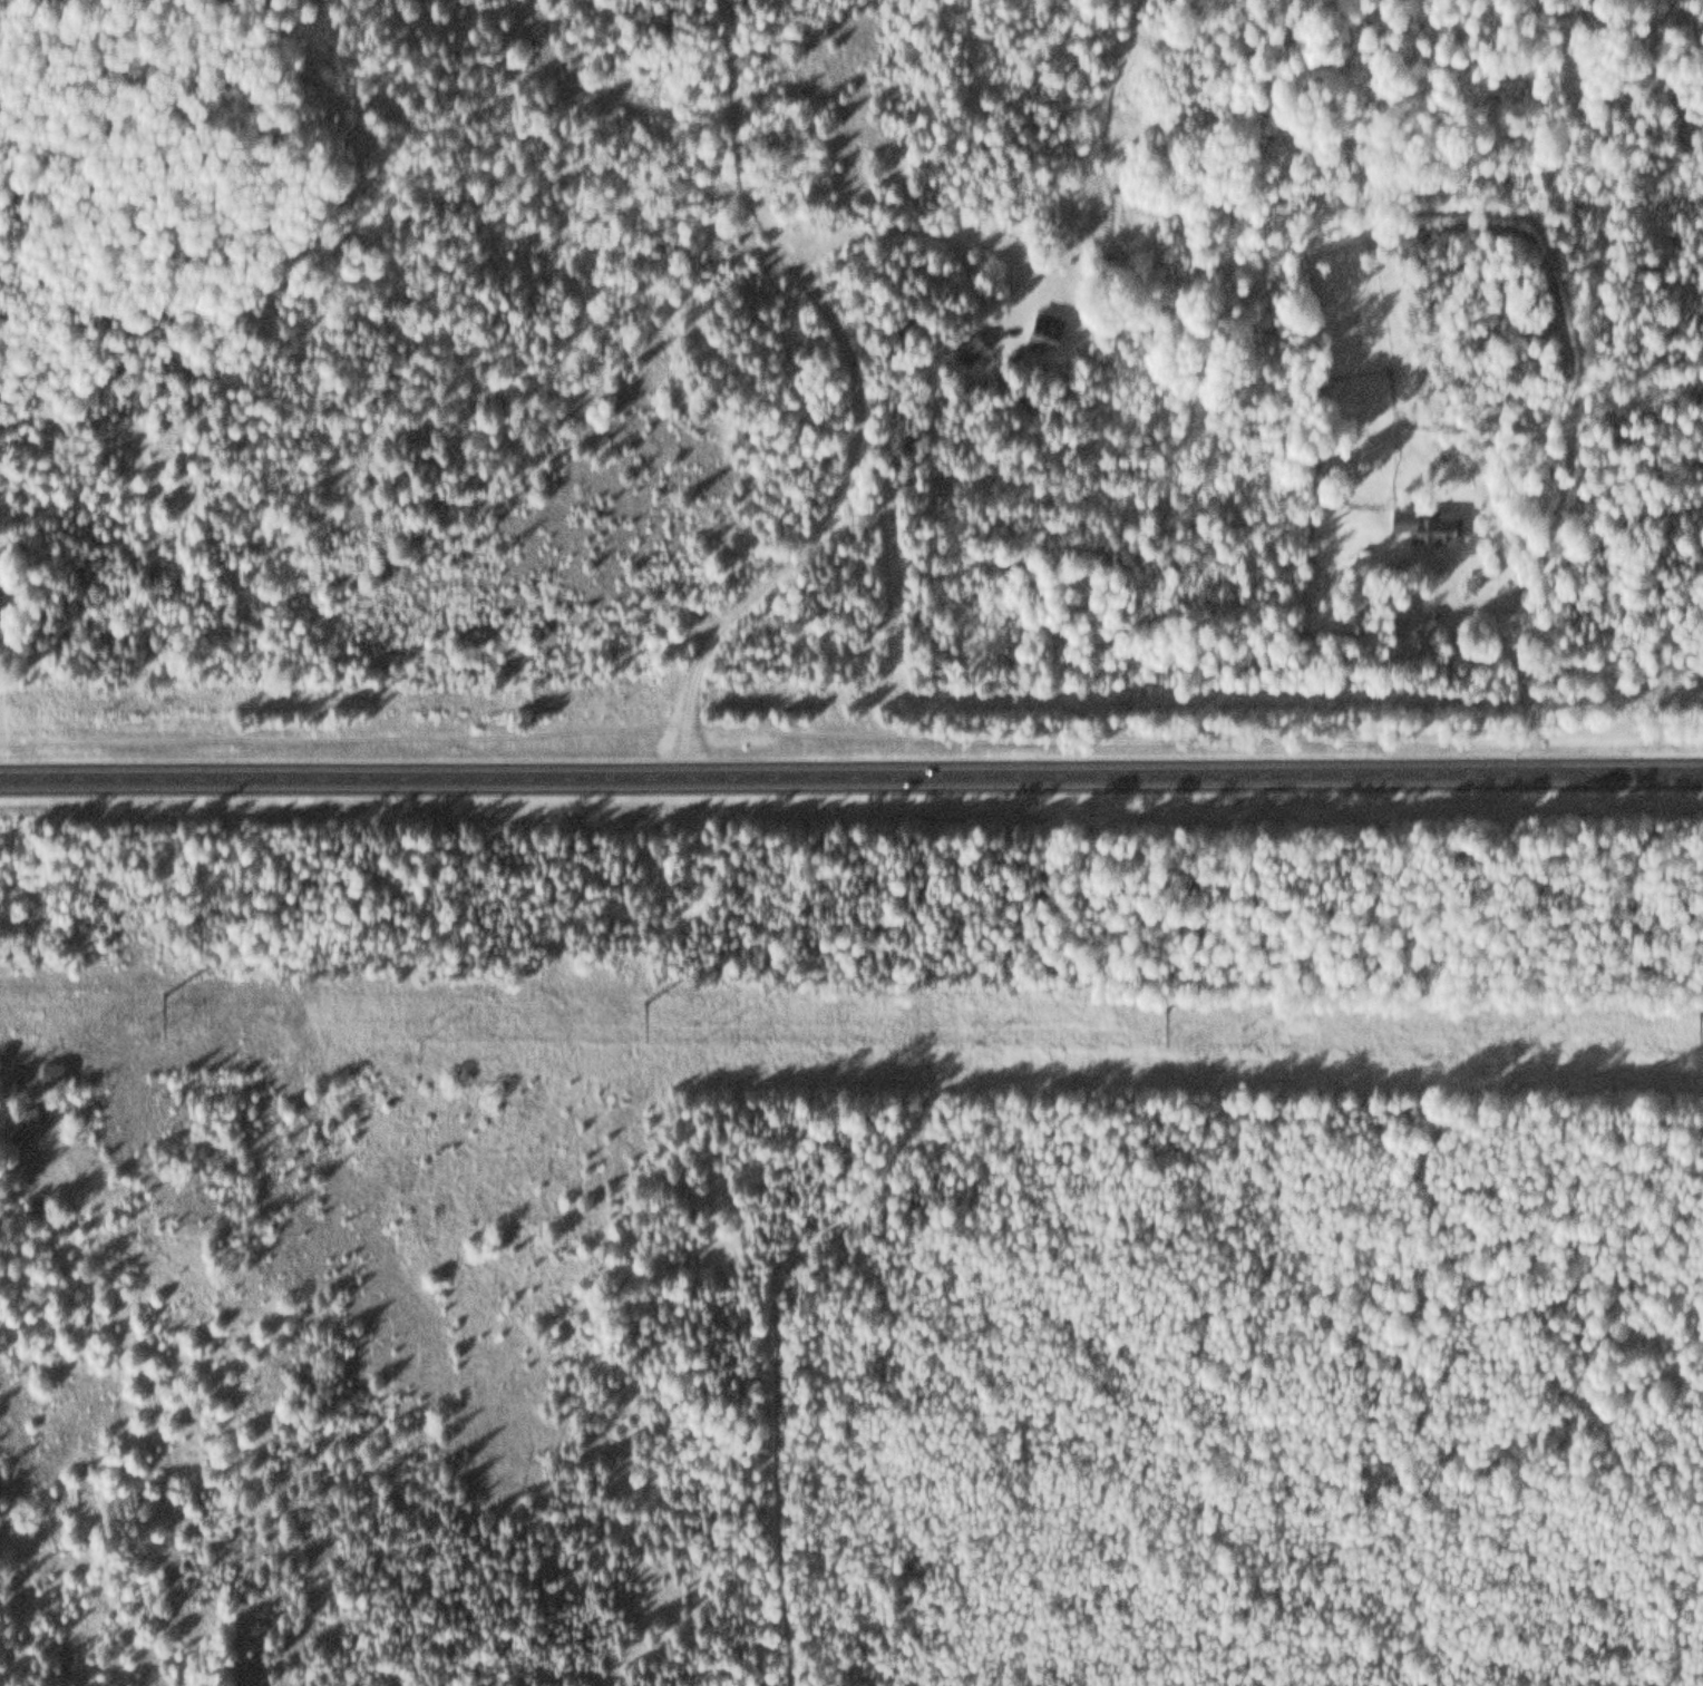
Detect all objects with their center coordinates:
building: (1047, 324)
road: (855, 400)
building: (1429, 522)
road: (852, 774)
power tower: (160, 991)
power tower: (639, 1000)
power tower: (1162, 1005)
power tower: (1695, 1013)
road: (14, 1058)
building: (55, 1071)
building: (25, 1120)

